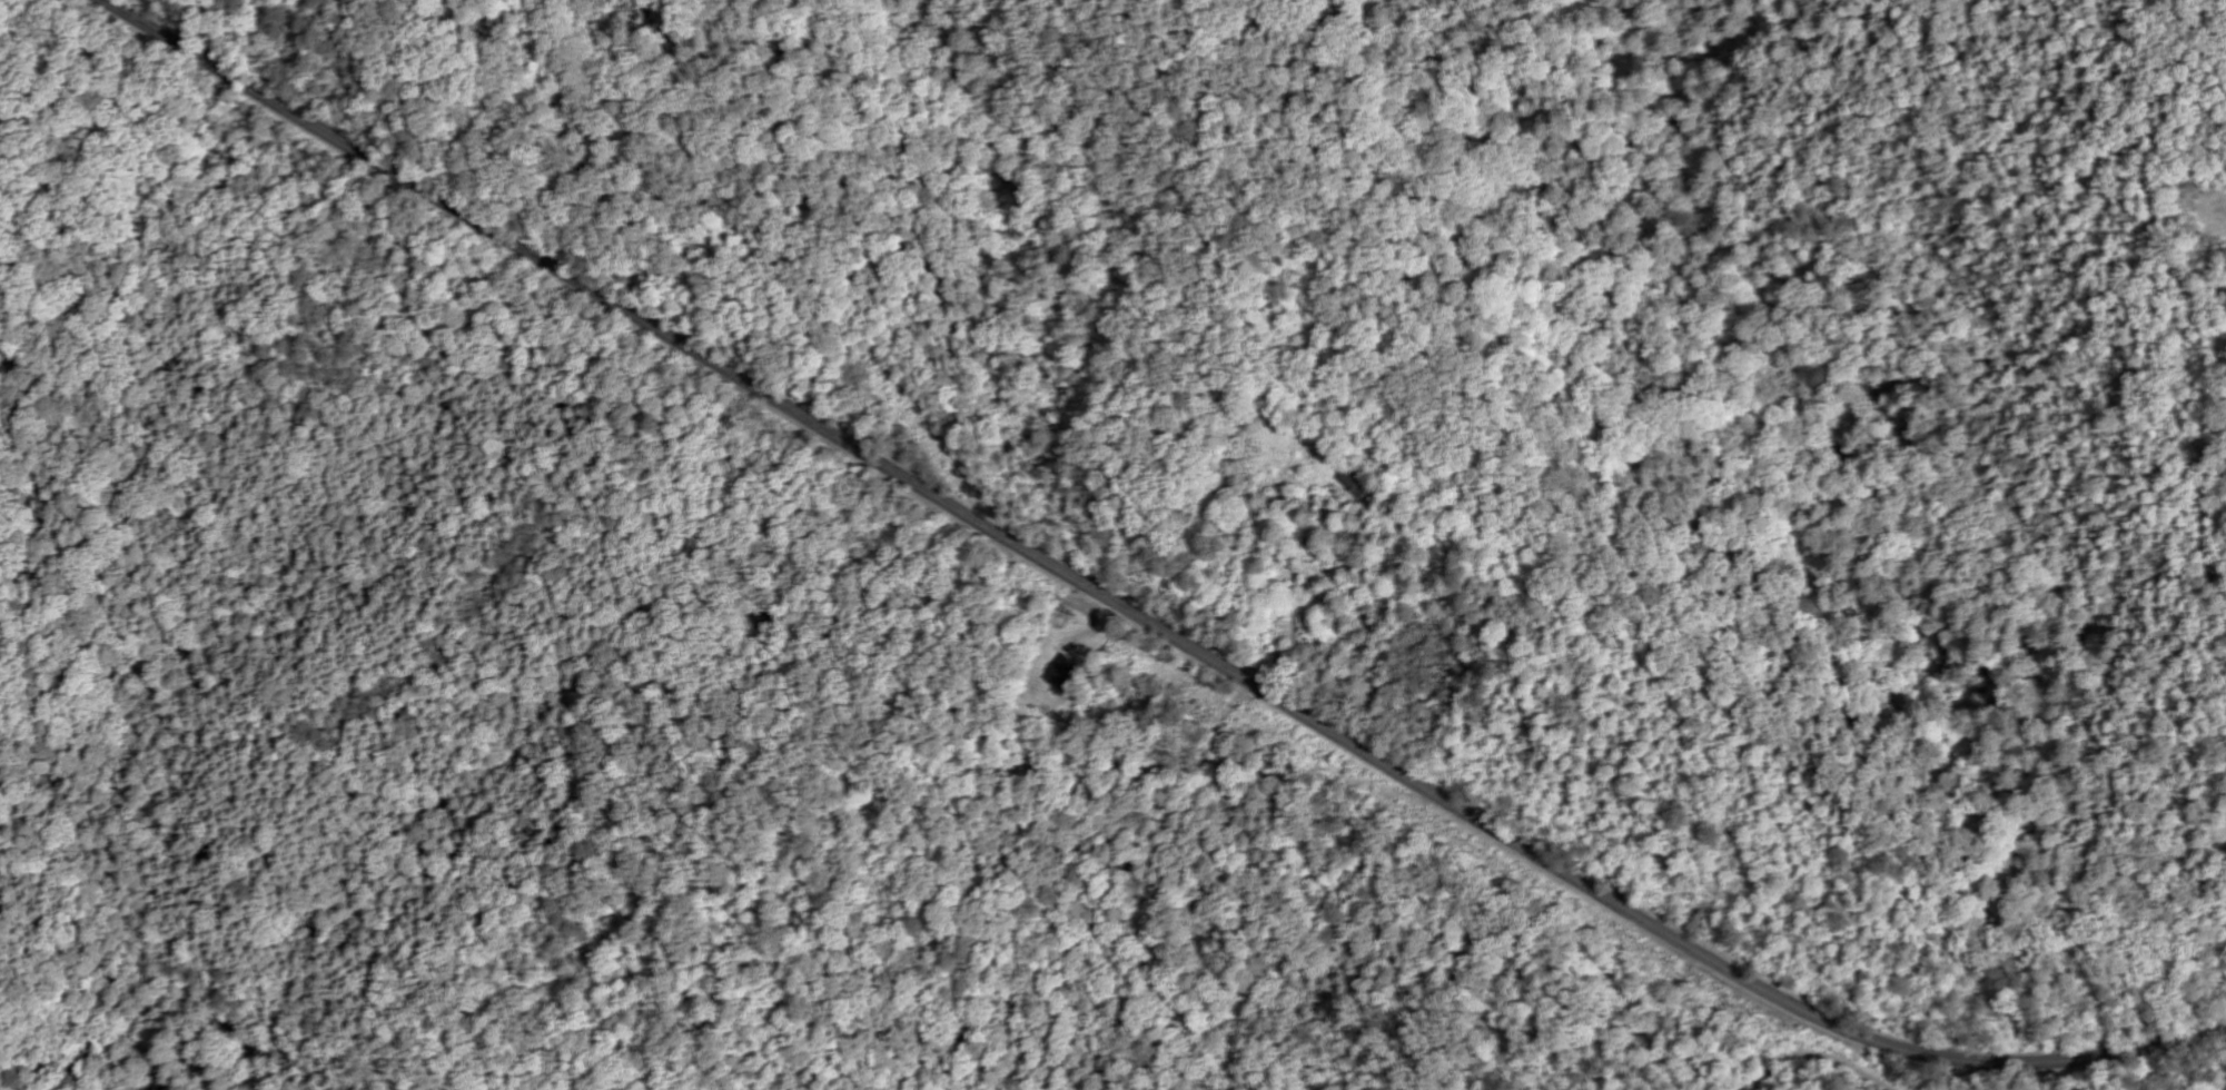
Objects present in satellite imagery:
road: (1140, 615)
road: (1813, 1059)

